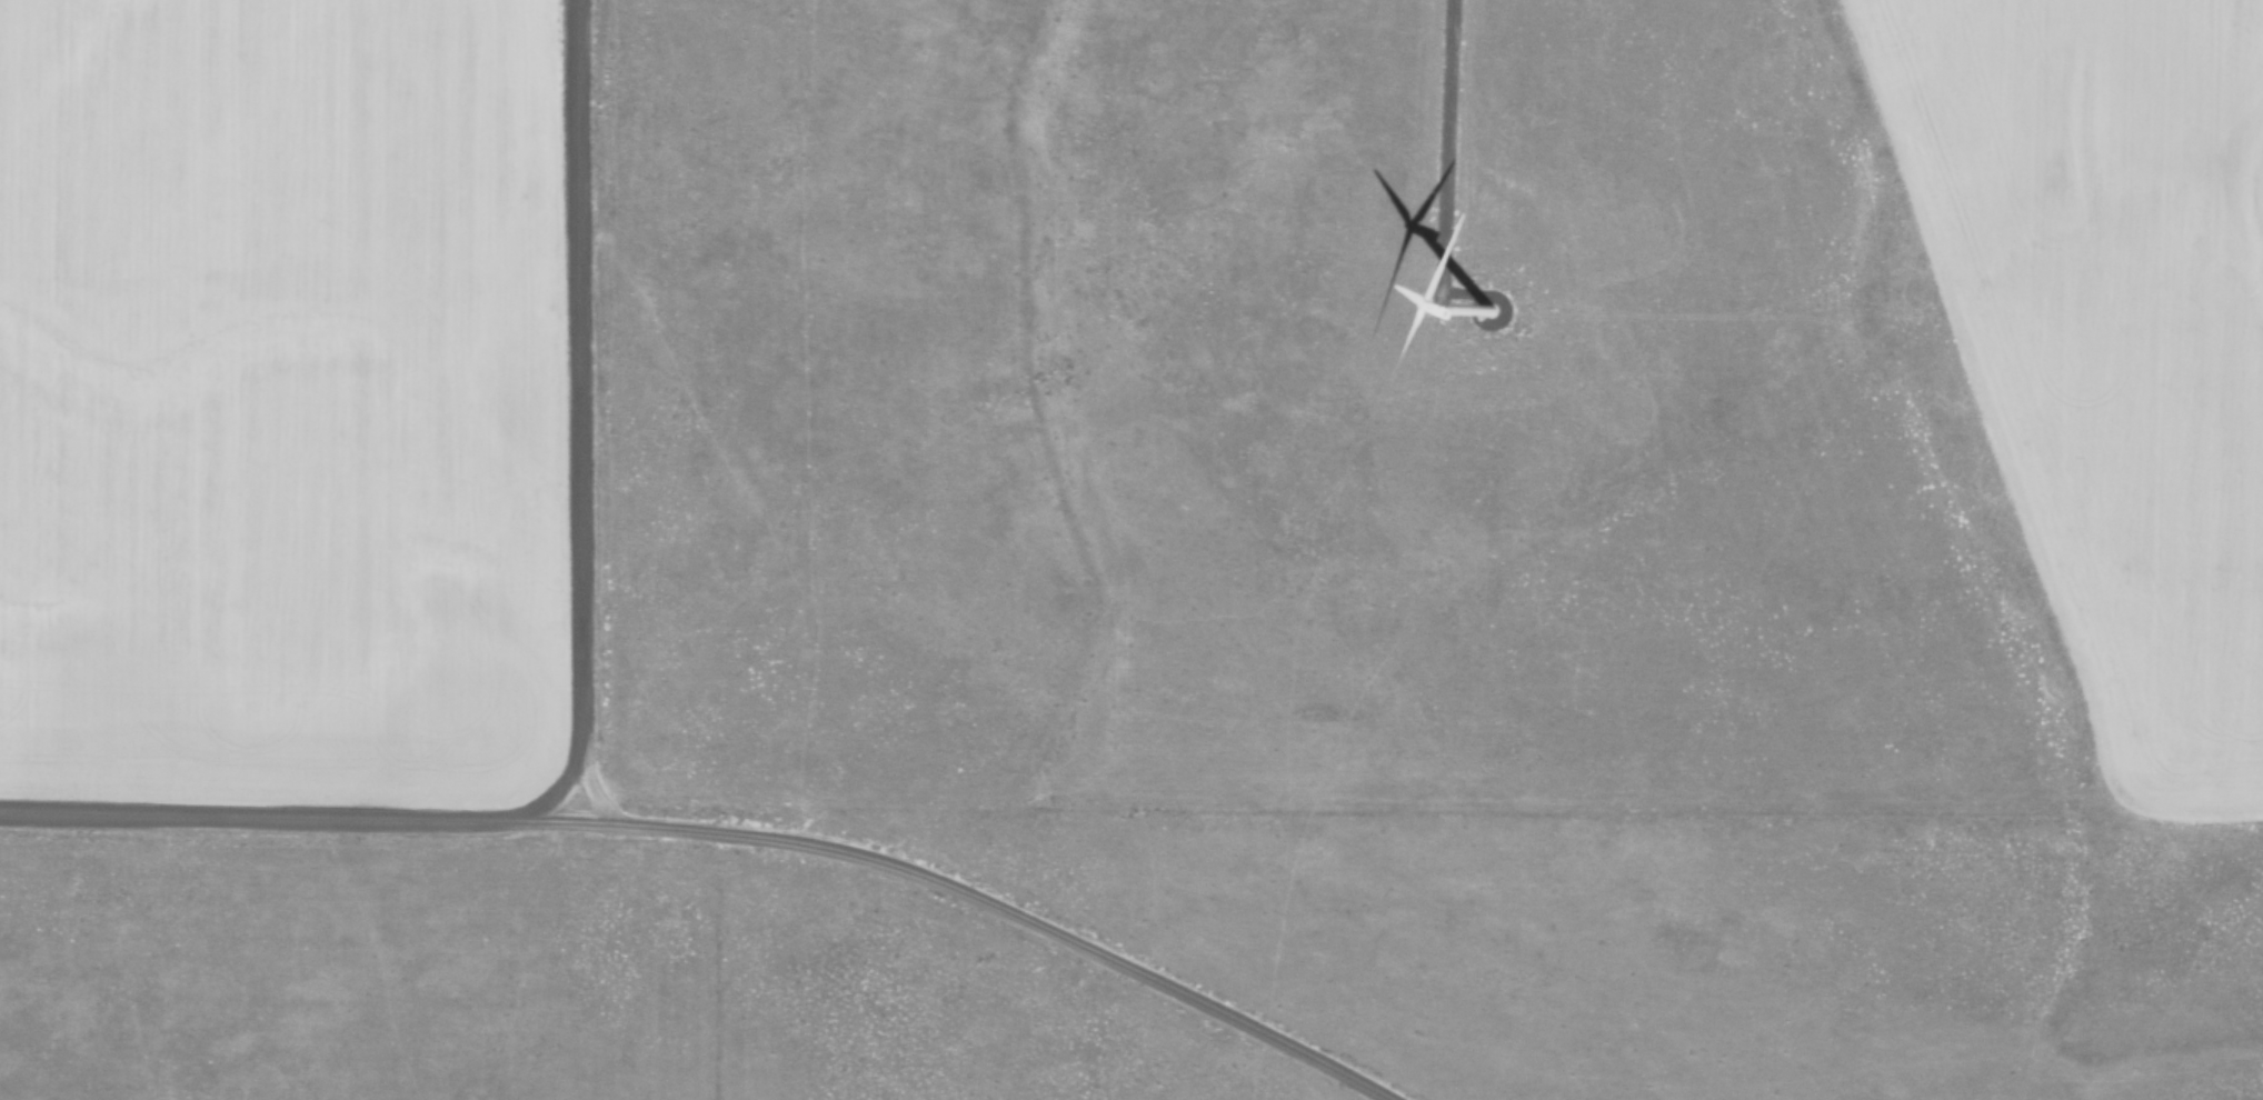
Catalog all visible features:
road: (1442, 149)
wind turbine: (1487, 313)
road: (576, 407)
road: (730, 827)

